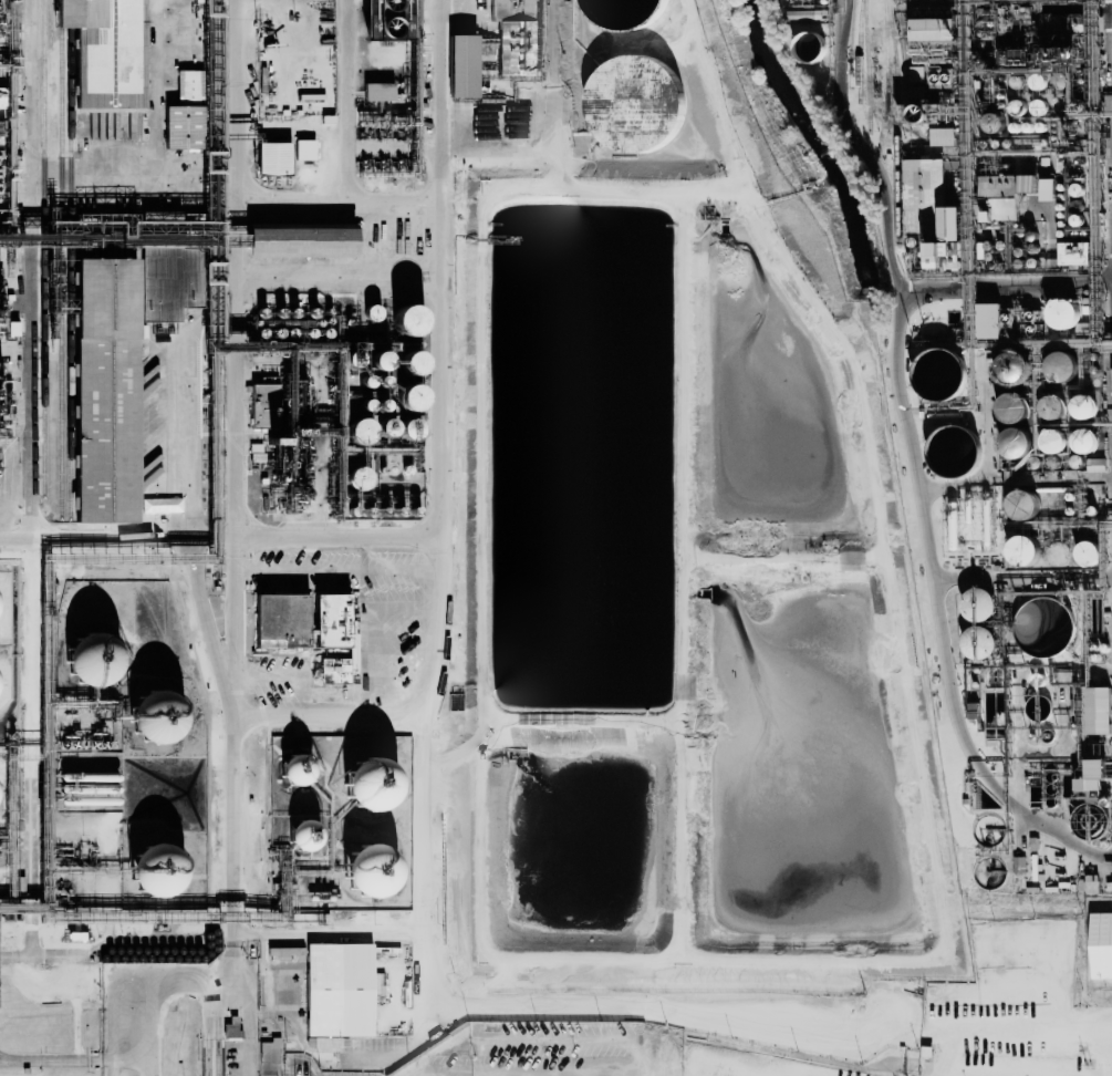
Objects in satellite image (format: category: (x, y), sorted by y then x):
building: (789, 0)
building: (381, 18)
building: (932, 28)
building: (513, 35)
railway: (859, 50)
building: (103, 51)
building: (460, 65)
railway: (867, 65)
railway: (885, 69)
building: (916, 73)
building: (186, 86)
building: (377, 91)
road: (345, 101)
building: (633, 102)
railway: (896, 122)
building: (179, 126)
building: (942, 135)
road: (864, 146)
building: (304, 149)
building: (272, 157)
building: (1, 182)
building: (1028, 182)
building: (1047, 188)
building: (1001, 194)
building: (928, 199)
road: (336, 203)
building: (299, 241)
railway: (44, 248)
building: (938, 251)
building: (1074, 252)
railway: (61, 258)
railway: (70, 258)
road: (32, 268)
road: (438, 268)
building: (170, 271)
building: (1062, 312)
building: (404, 318)
building: (988, 320)
building: (12, 328)
building: (375, 359)
building: (1060, 365)
building: (107, 389)
building: (405, 396)
building: (1051, 404)
building: (263, 405)
building: (1081, 405)
building: (1012, 406)
building: (358, 431)
road: (175, 439)
building: (1051, 439)
building: (1084, 439)
building: (1015, 442)
building: (952, 449)
building: (1095, 464)
building: (358, 478)
building: (1022, 504)
road: (924, 509)
road: (220, 539)
building: (1023, 549)
building: (1088, 553)
building: (977, 604)
building: (281, 620)
building: (334, 637)
building: (90, 660)
building: (1097, 710)
road: (330, 712)
building: (153, 717)
road: (423, 732)
building: (295, 770)
building: (1092, 776)
building: (367, 785)
road: (245, 806)
building: (302, 836)
road: (29, 853)
building: (154, 871)
building: (366, 872)
road: (332, 933)
building: (1101, 944)
building: (341, 990)
road: (737, 1018)
building: (231, 1027)
parking lot: (537, 1052)
building: (270, 1057)
road: (496, 1075)

